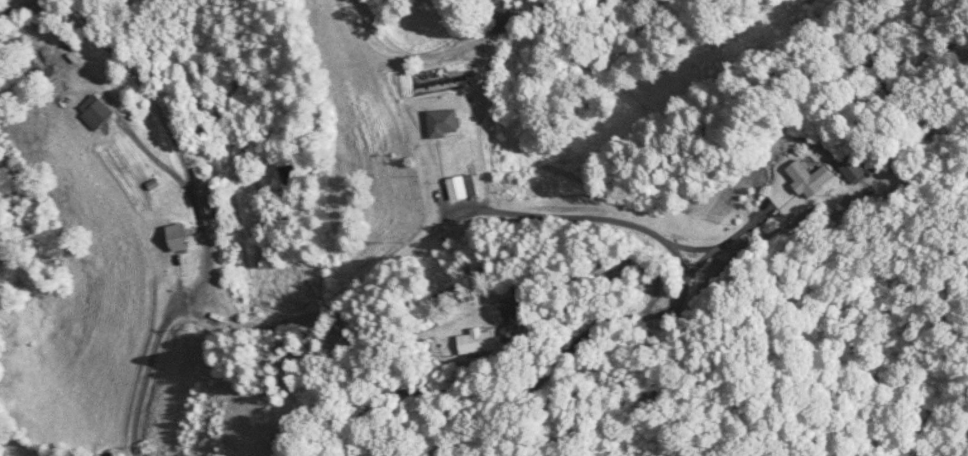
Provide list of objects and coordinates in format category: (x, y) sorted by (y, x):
building: (500, 17)
building: (96, 114)
building: (441, 121)
building: (852, 168)
building: (807, 176)
building: (461, 186)
building: (209, 204)
building: (177, 236)
road: (296, 316)
building: (476, 340)

